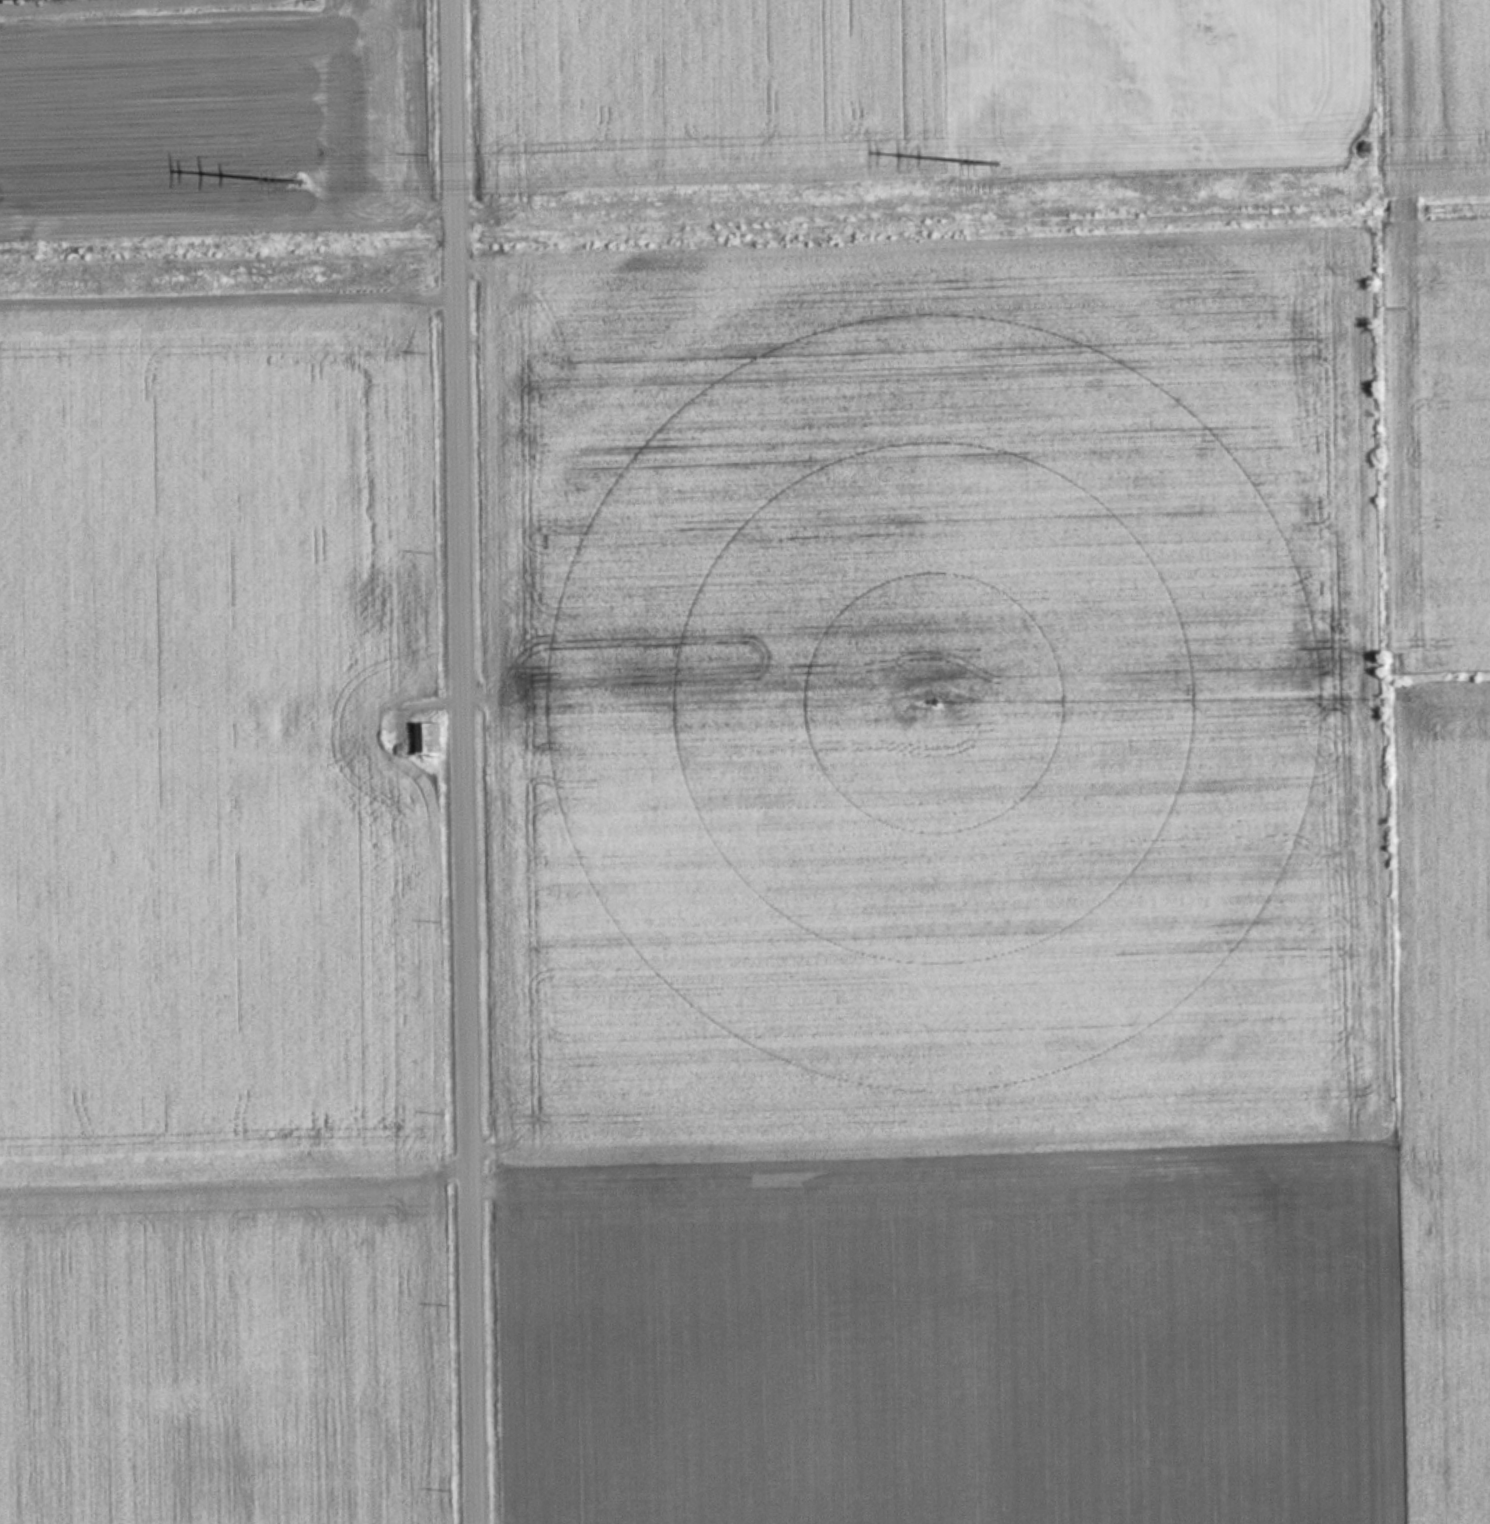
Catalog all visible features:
power tower: (1005, 144)
power tower: (310, 163)
road: (234, 283)
building: (314, 720)
building: (427, 738)
road: (476, 761)

